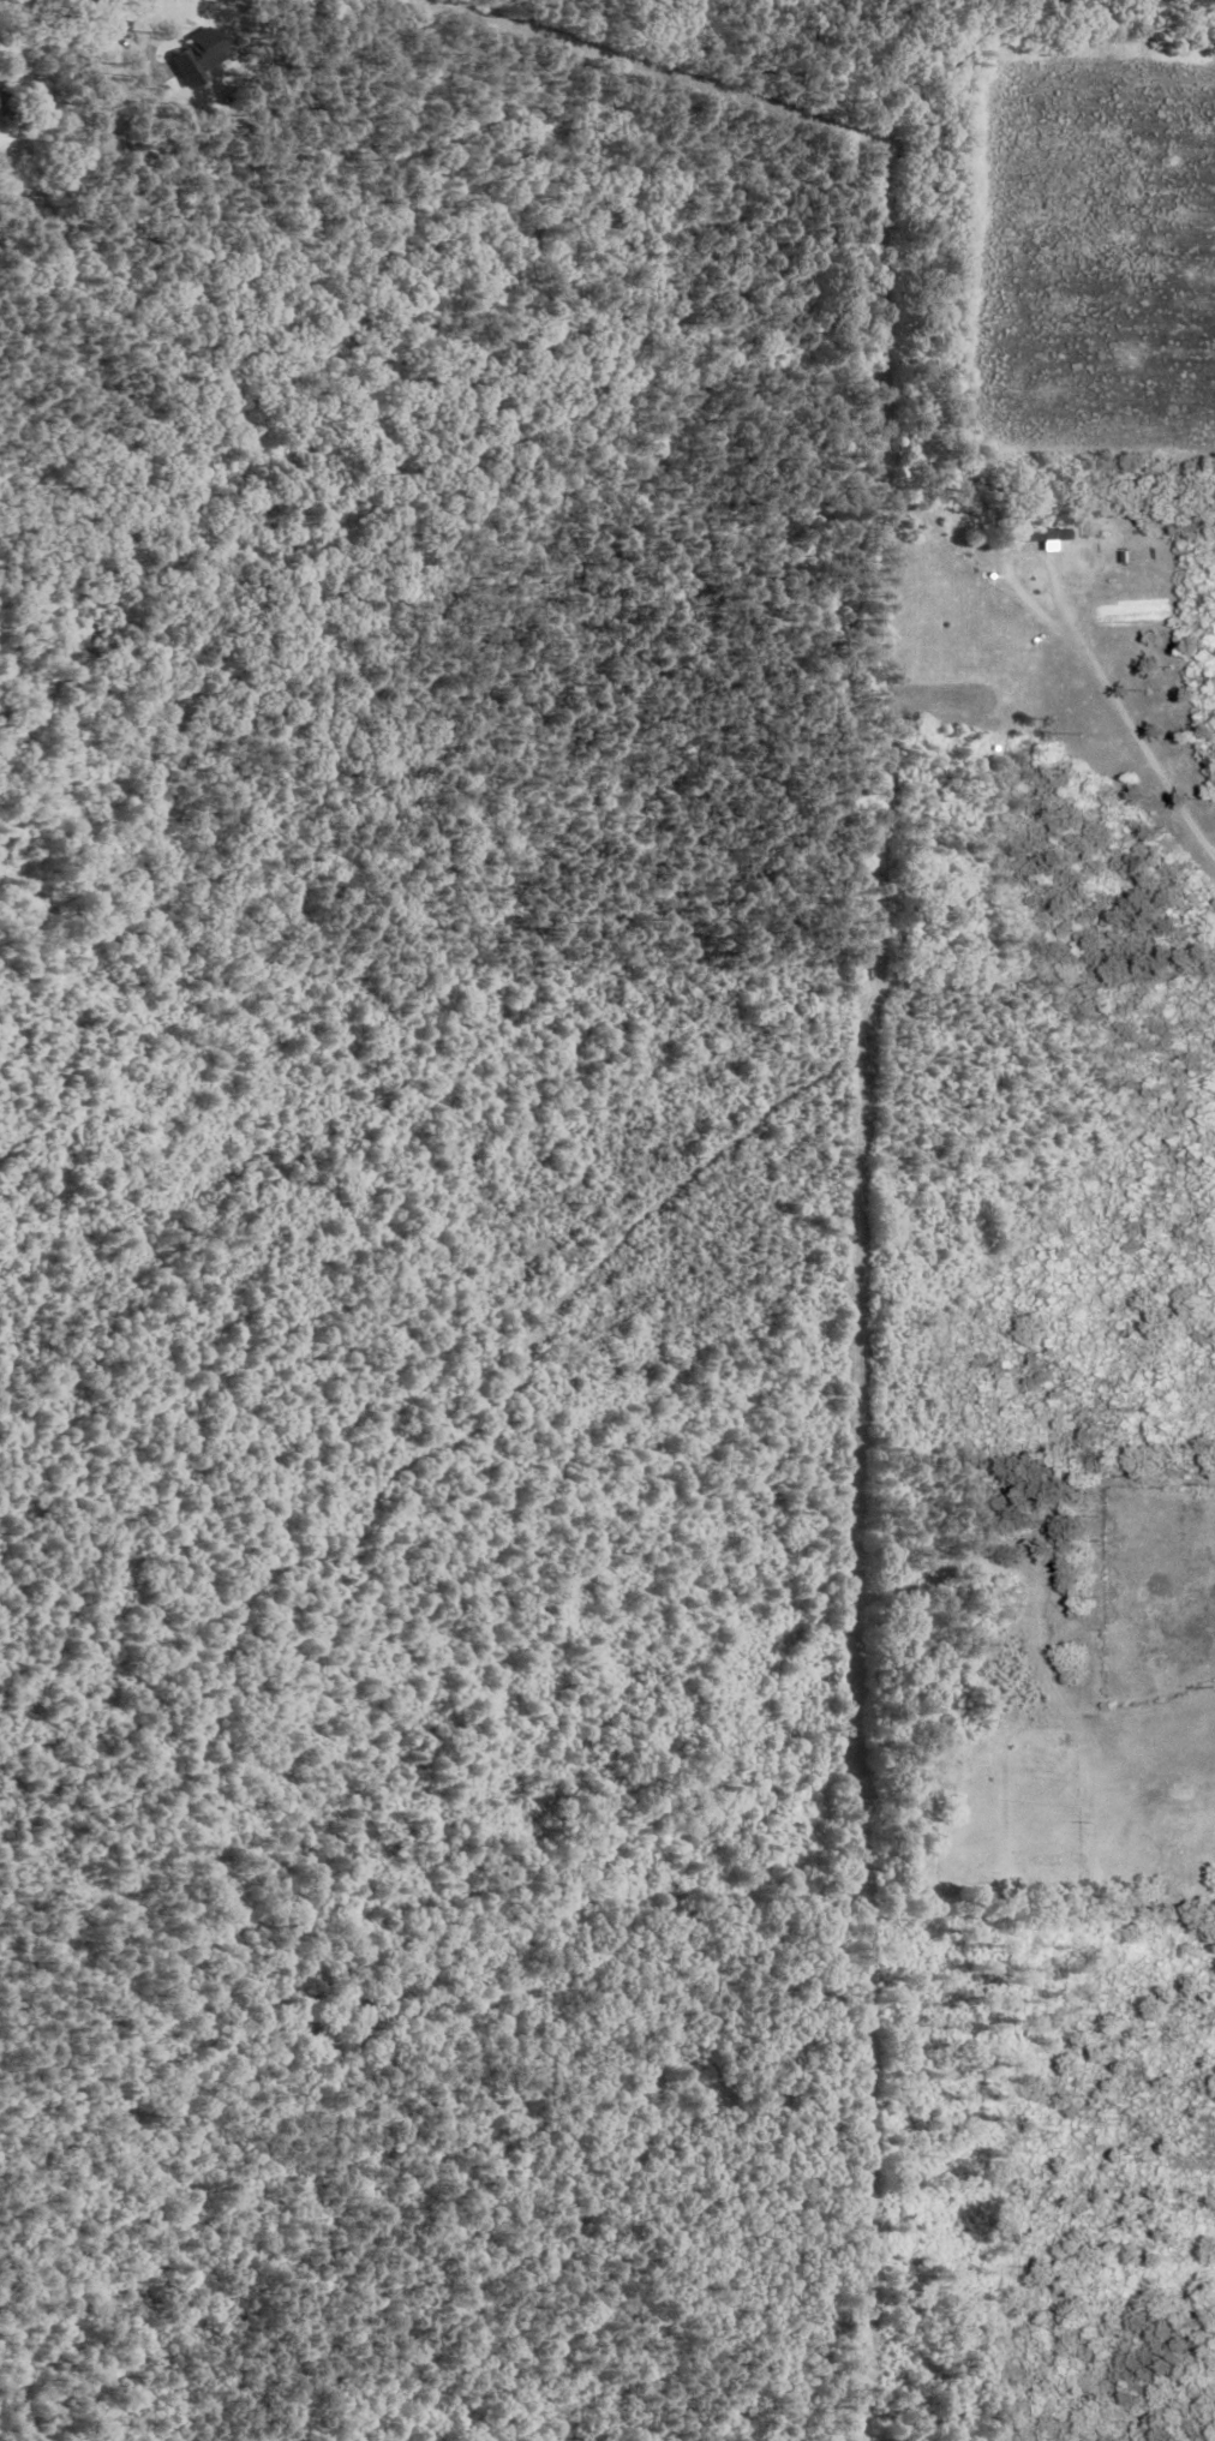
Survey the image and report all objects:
road: (164, 19)
building: (208, 43)
building: (0, 107)
building: (1052, 536)
road: (1017, 552)
road: (1143, 749)

